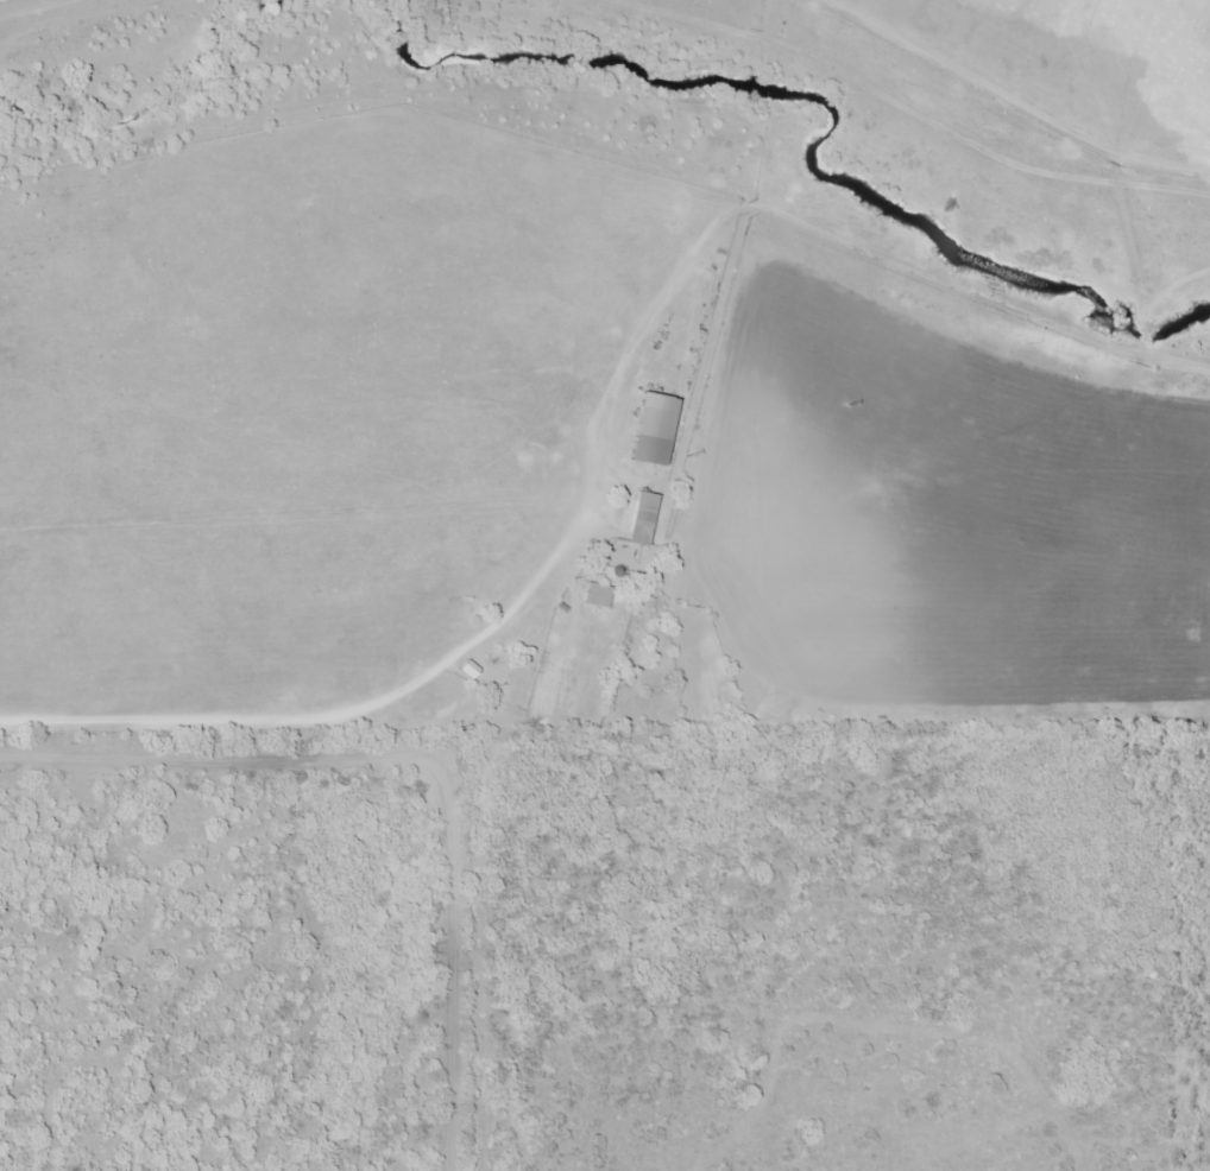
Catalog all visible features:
building: (650, 426)
building: (641, 517)
building: (595, 593)
building: (462, 667)
road: (340, 714)

